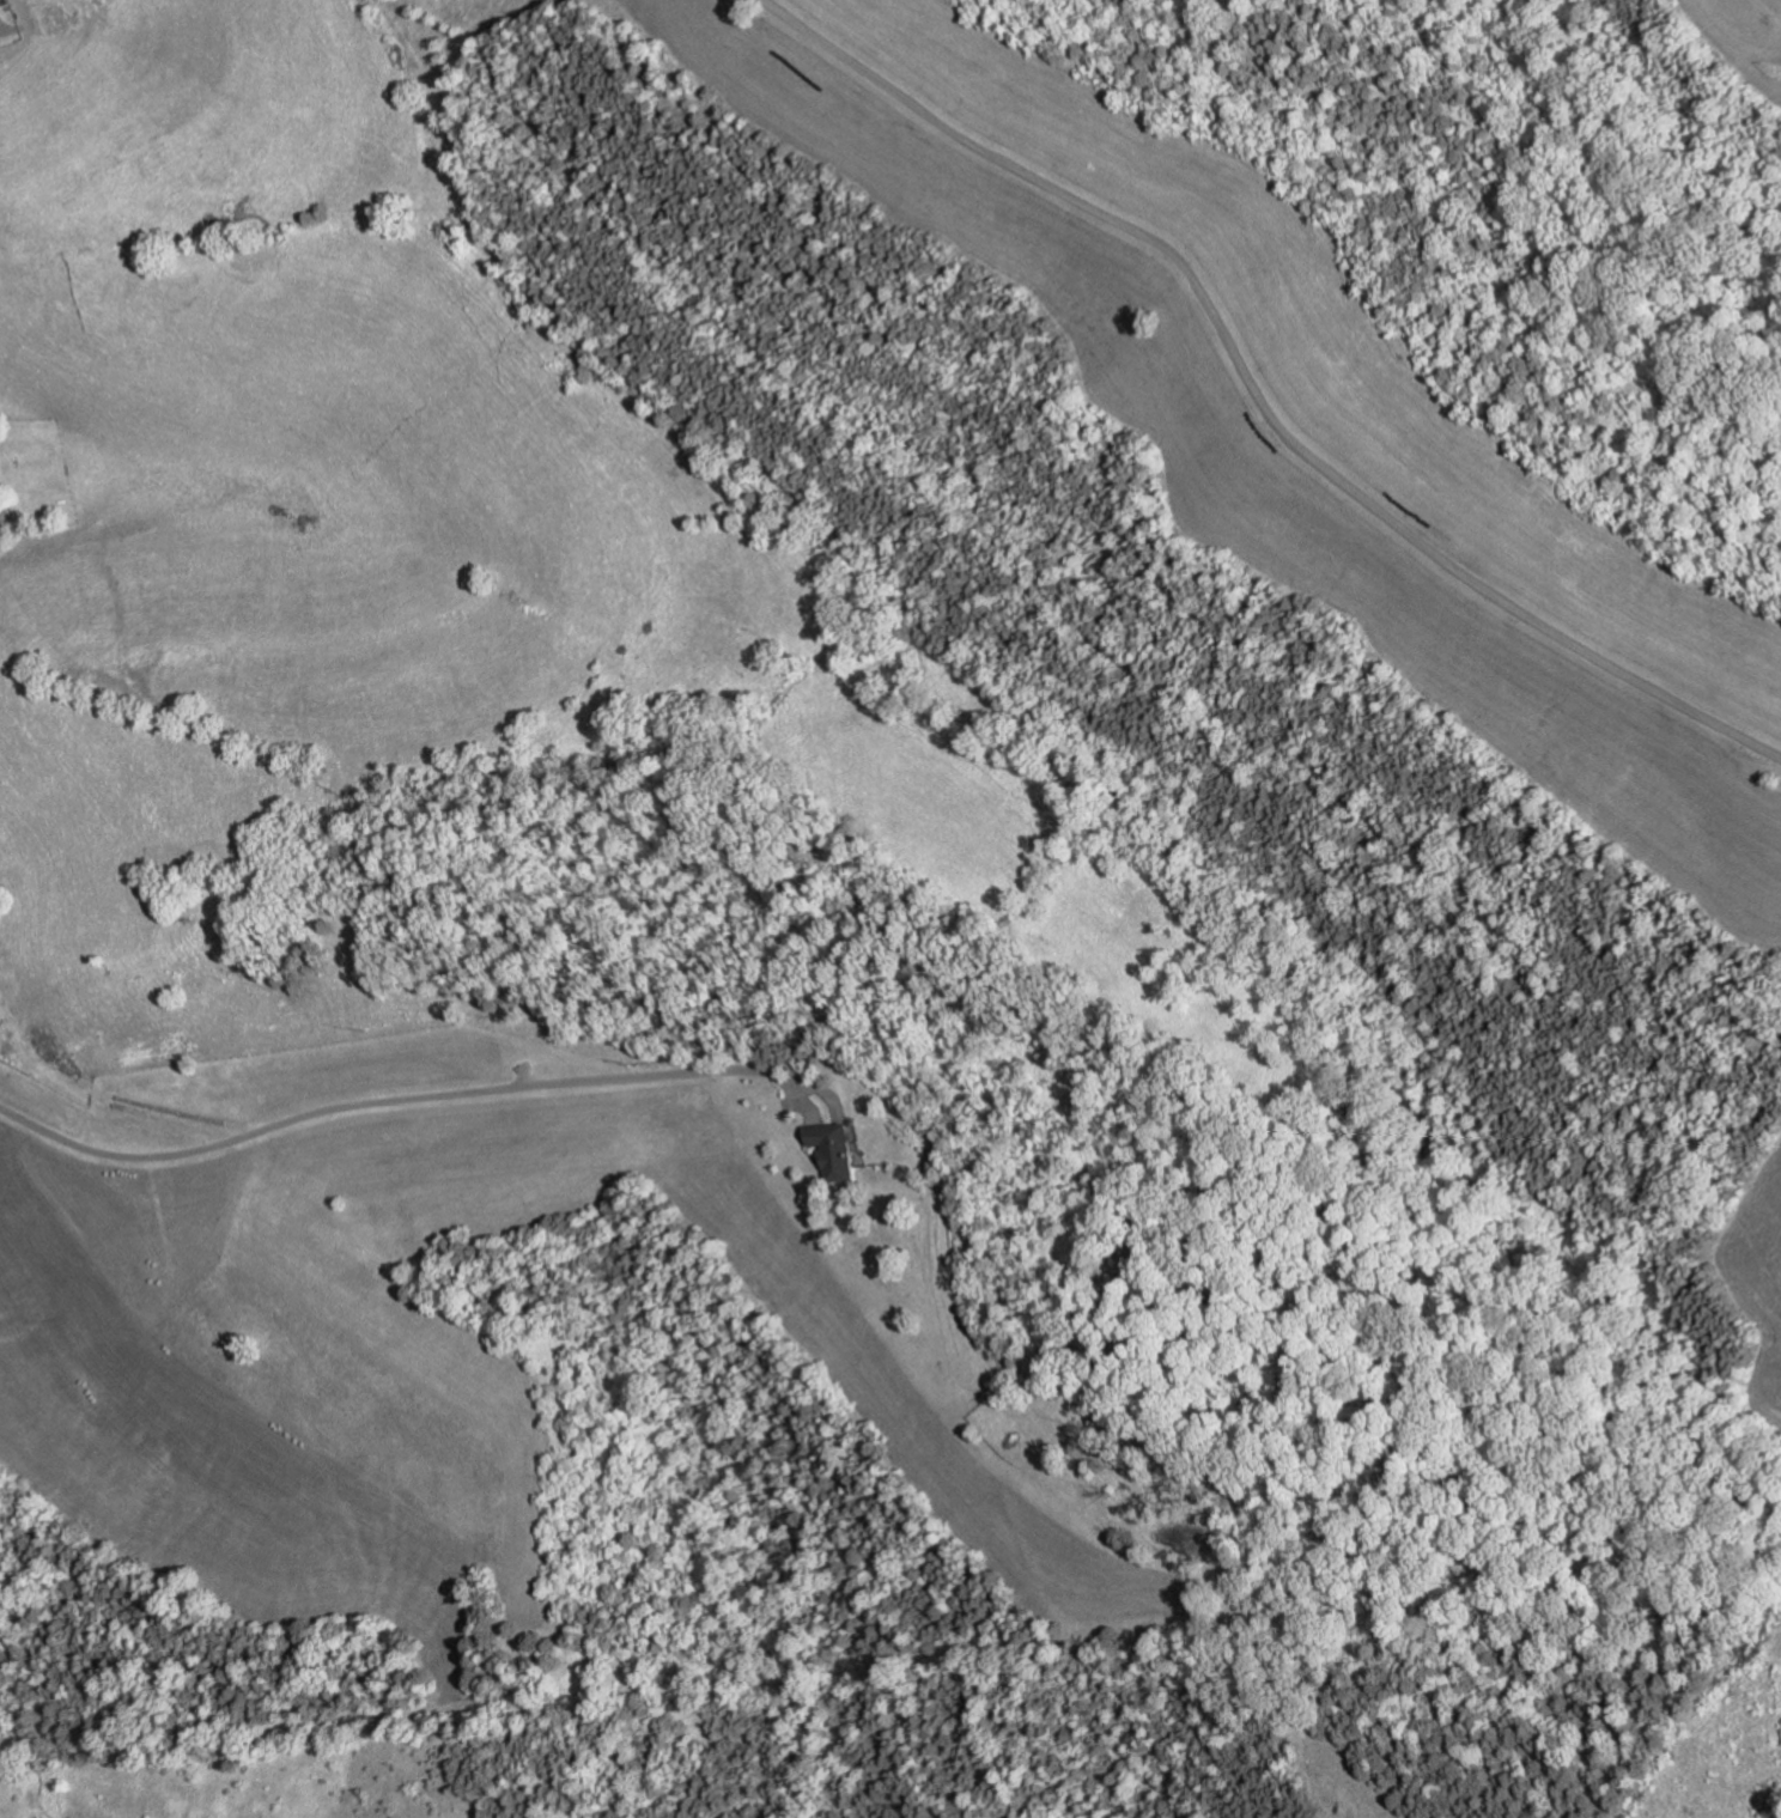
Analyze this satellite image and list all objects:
road: (1, 24)
road: (1257, 391)
road: (5, 513)
road: (47, 1068)
road: (523, 1075)
road: (430, 1095)
road: (800, 1101)
road: (808, 1101)
road: (808, 1137)
building: (841, 1148)

